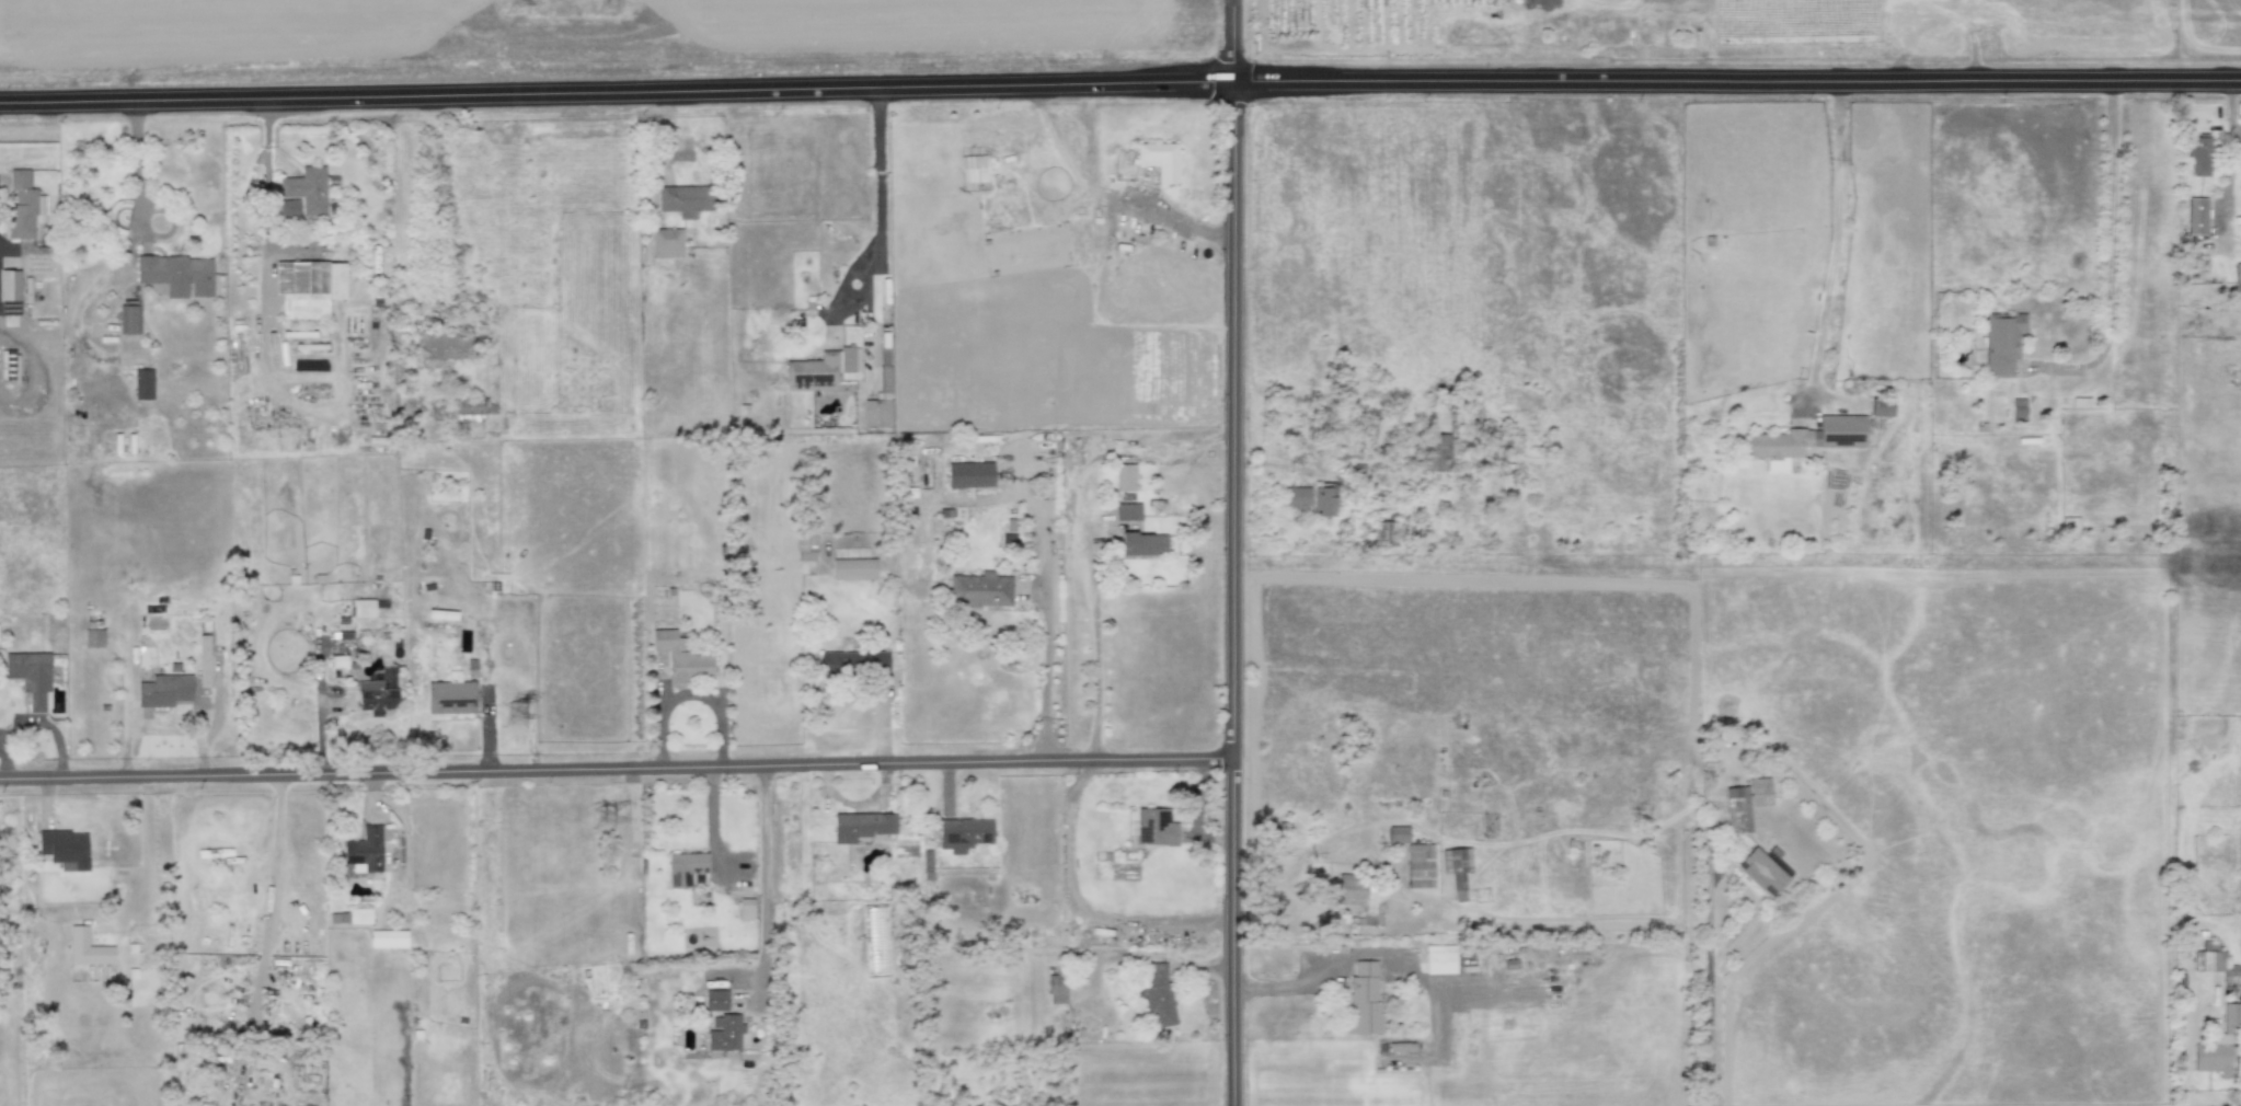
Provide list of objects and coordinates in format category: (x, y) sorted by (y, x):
power tower: (529, 3)
power tower: (616, 8)
road: (1233, 41)
road: (1736, 82)
road: (617, 93)
building: (2197, 153)
building: (1159, 160)
road: (137, 166)
building: (999, 166)
road: (880, 176)
building: (307, 189)
road: (266, 192)
building: (685, 198)
road: (429, 204)
building: (23, 206)
building: (288, 208)
road: (2111, 215)
building: (2196, 216)
building: (666, 242)
road: (1832, 249)
building: (2237, 273)
building: (176, 274)
building: (308, 288)
building: (9, 292)
building: (2001, 342)
building: (443, 348)
building: (5, 364)
building: (820, 369)
building: (142, 384)
building: (1880, 406)
building: (877, 407)
building: (468, 408)
building: (2018, 410)
building: (1805, 439)
building: (1436, 452)
building: (969, 475)
building: (1125, 477)
building: (1310, 499)
building: (1127, 511)
building: (1383, 534)
building: (1008, 539)
building: (1142, 544)
building: (805, 546)
building: (853, 569)
building: (979, 589)
road: (1233, 595)
building: (363, 608)
building: (93, 634)
road: (1044, 636)
building: (682, 658)
building: (204, 659)
building: (853, 663)
road: (1095, 666)
building: (30, 676)
building: (163, 690)
building: (378, 691)
building: (451, 695)
road: (689, 696)
power tower: (524, 717)
road: (616, 770)
building: (1745, 803)
power tower: (607, 818)
building: (861, 826)
building: (1151, 827)
building: (963, 833)
building: (1398, 833)
building: (65, 849)
building: (366, 849)
building: (1420, 866)
building: (683, 867)
building: (1457, 869)
building: (1765, 869)
road: (763, 885)
road: (269, 886)
building: (1363, 898)
building: (745, 909)
road: (1081, 910)
building: (359, 915)
building: (388, 938)
building: (85, 948)
road: (1372, 956)
building: (1440, 959)
building: (2214, 961)
building: (1056, 989)
road: (1708, 993)
building: (1157, 994)
building: (1363, 999)
building: (725, 1033)
building: (2218, 1044)

